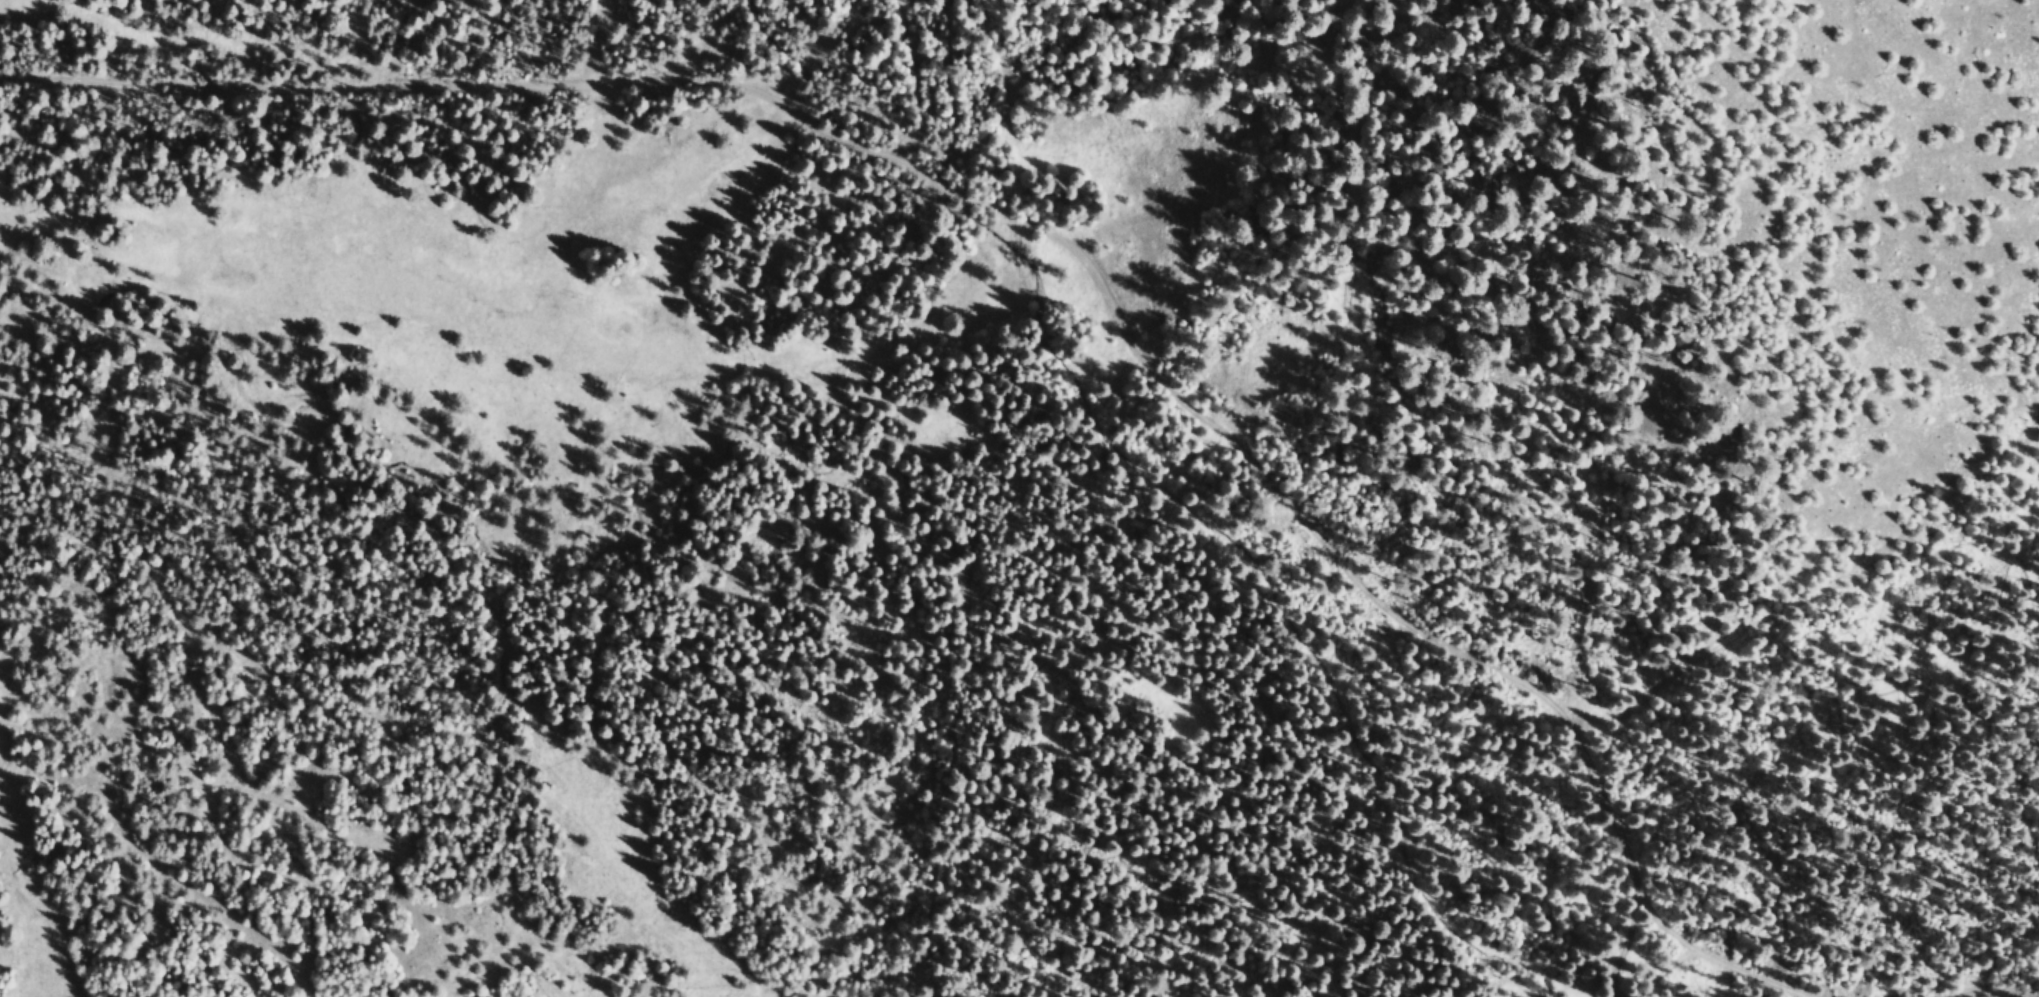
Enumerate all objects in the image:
road: (1044, 246)
road: (1978, 992)

